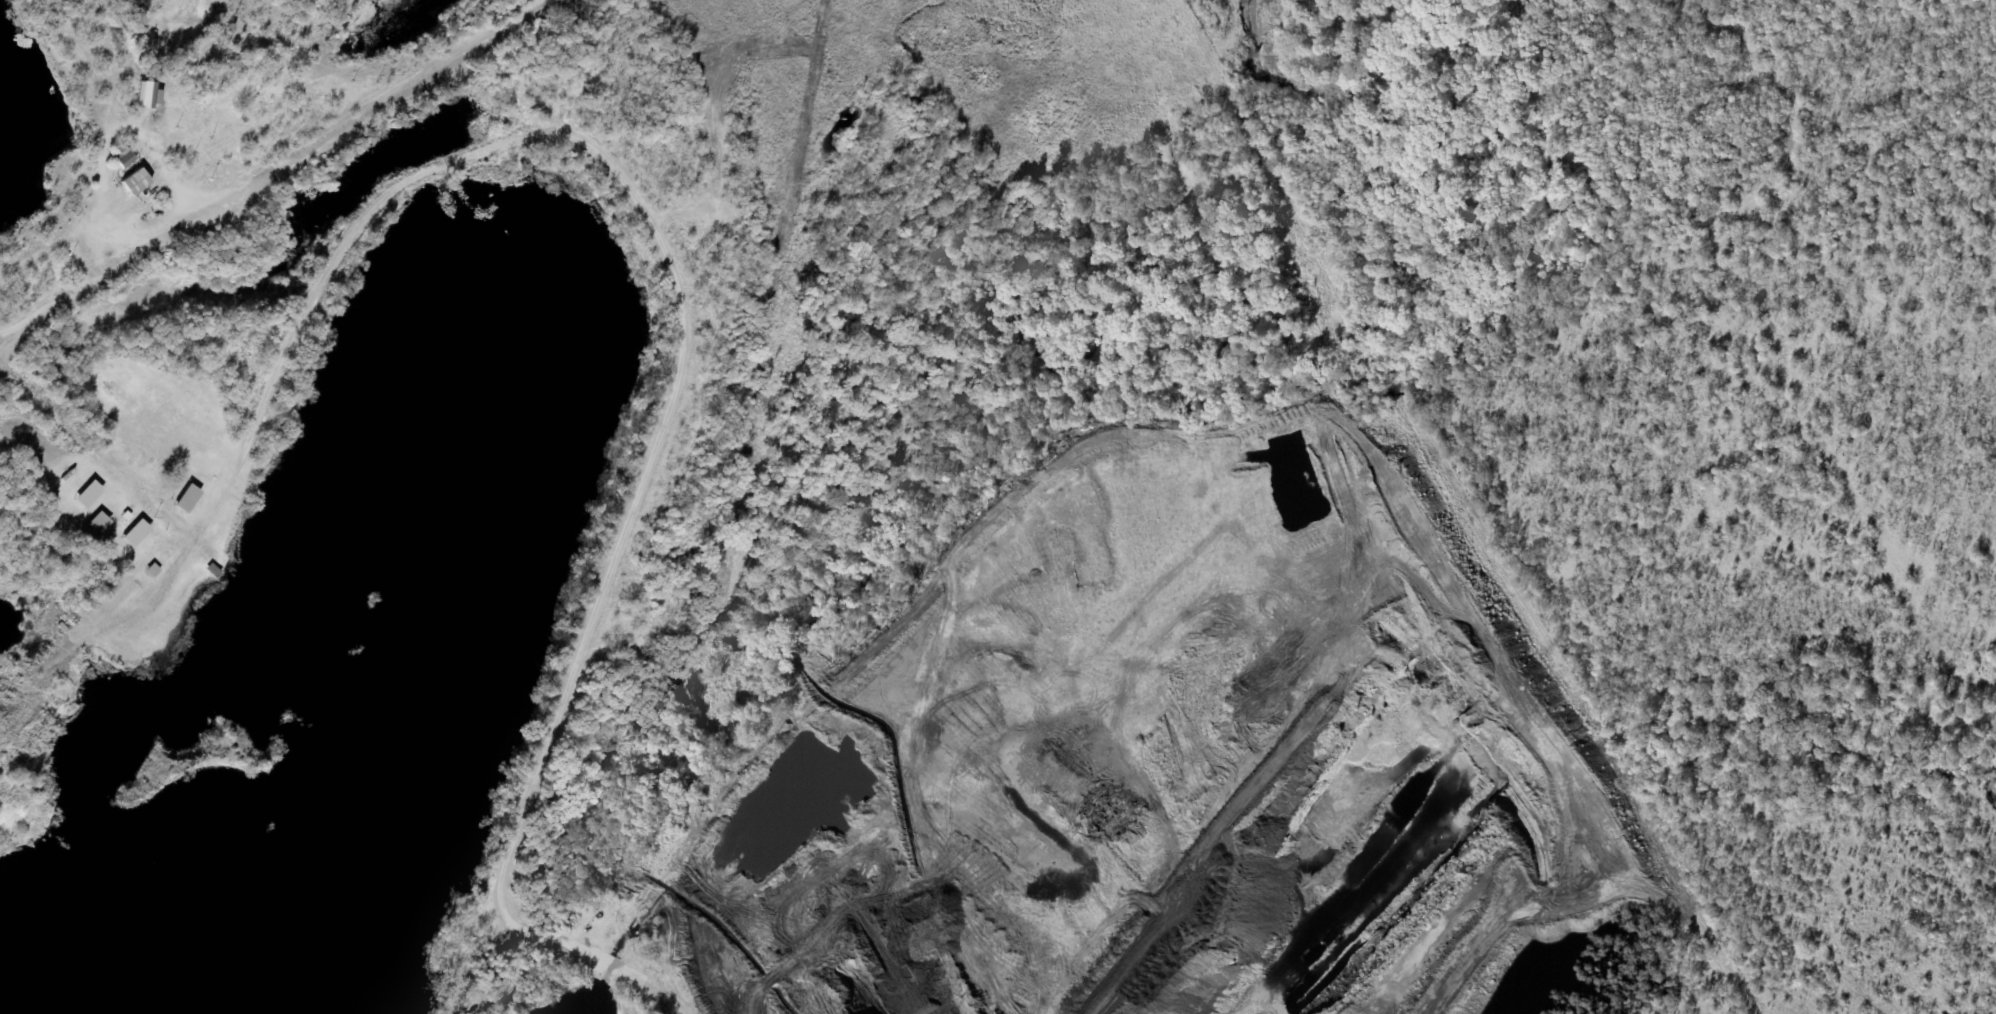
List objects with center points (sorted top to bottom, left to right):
building: (149, 96)
building: (125, 159)
road: (312, 169)
building: (136, 183)

